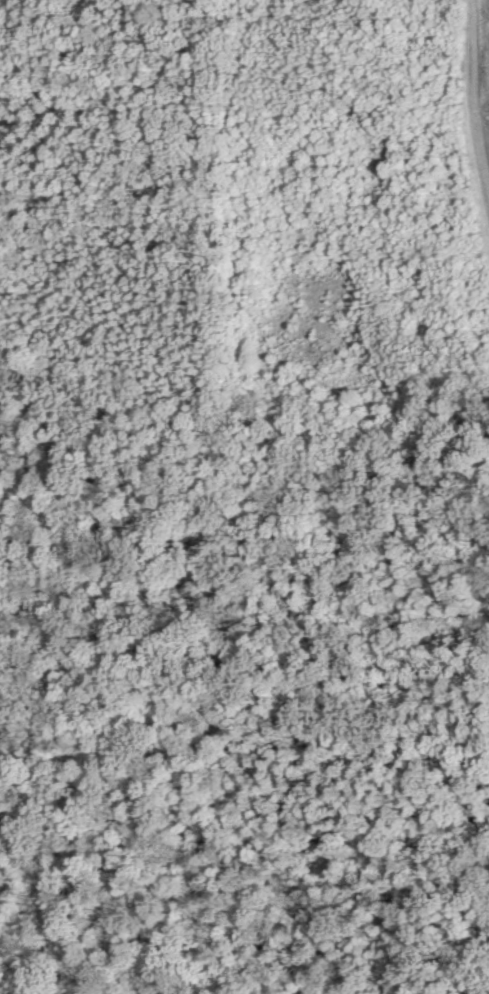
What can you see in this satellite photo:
park: (244, 497)

